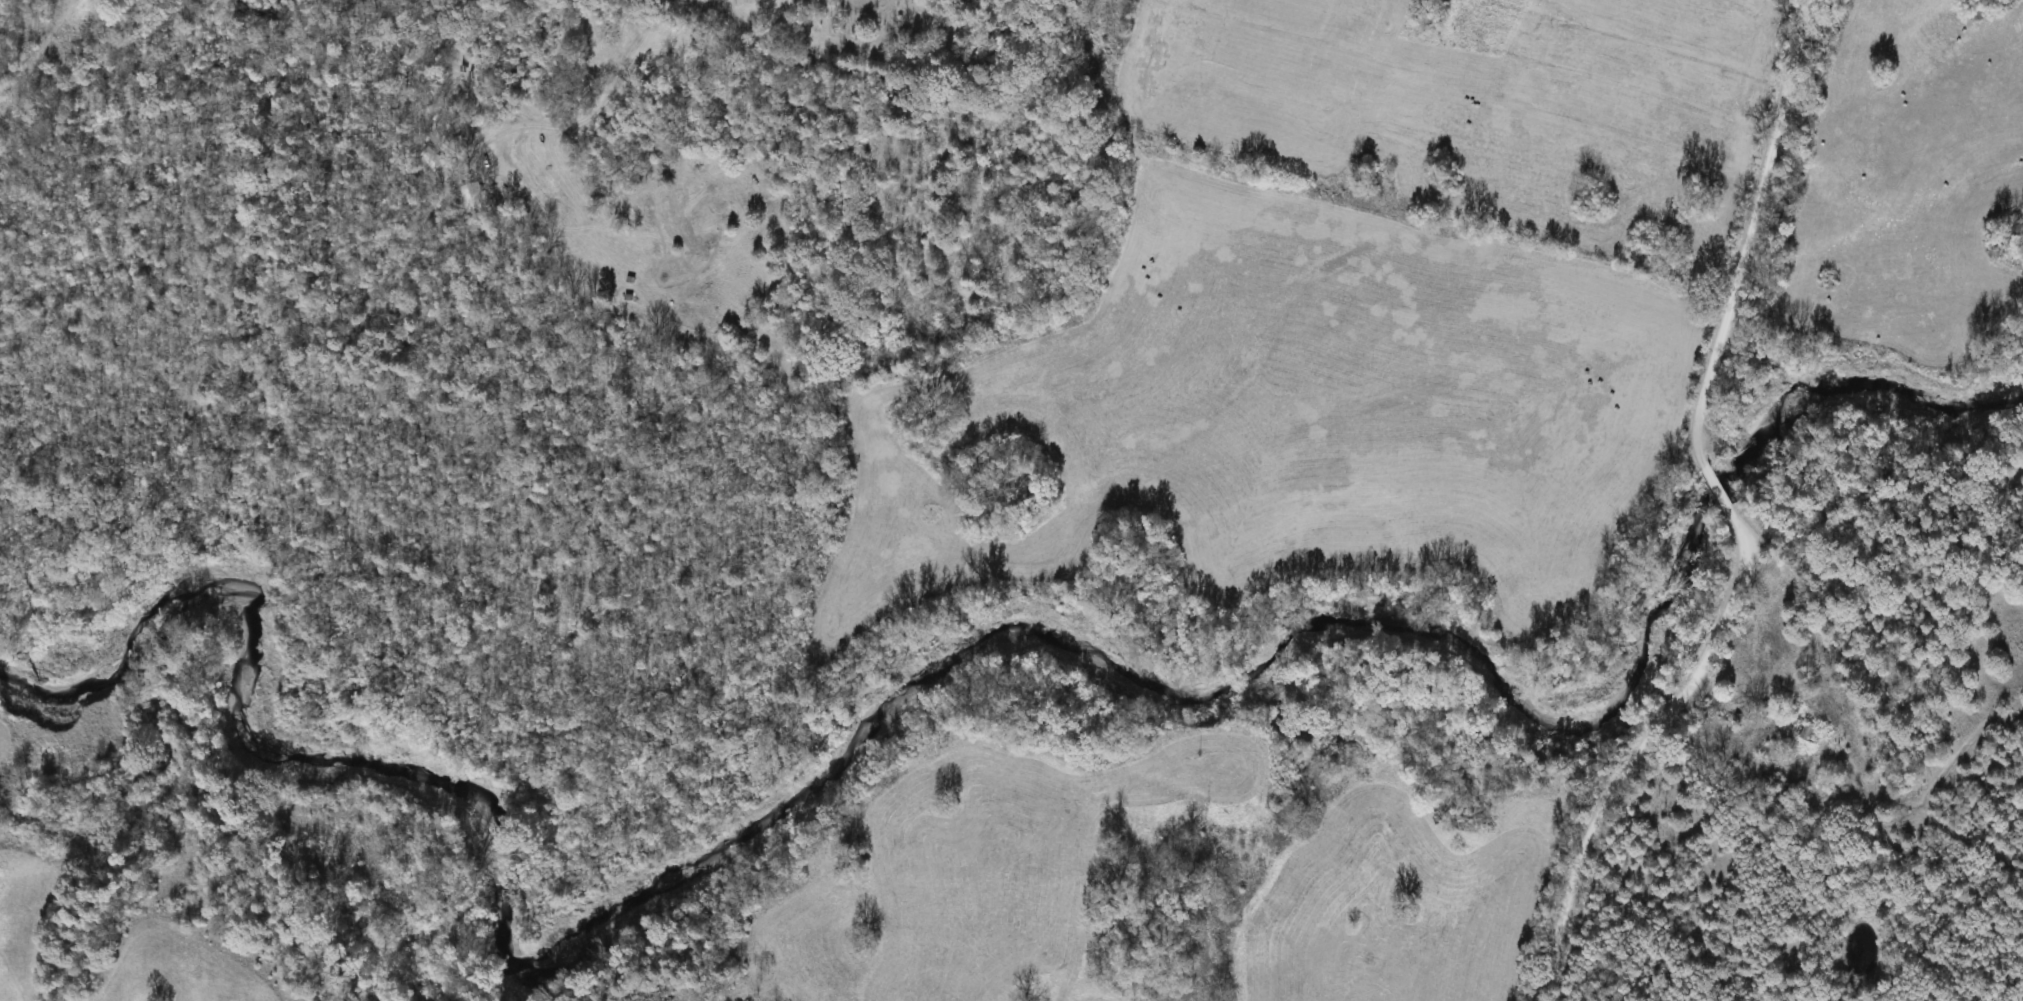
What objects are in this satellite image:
road: (1752, 230)
road: (1718, 491)
building: (1734, 710)
building: (1804, 732)
road: (1637, 754)

